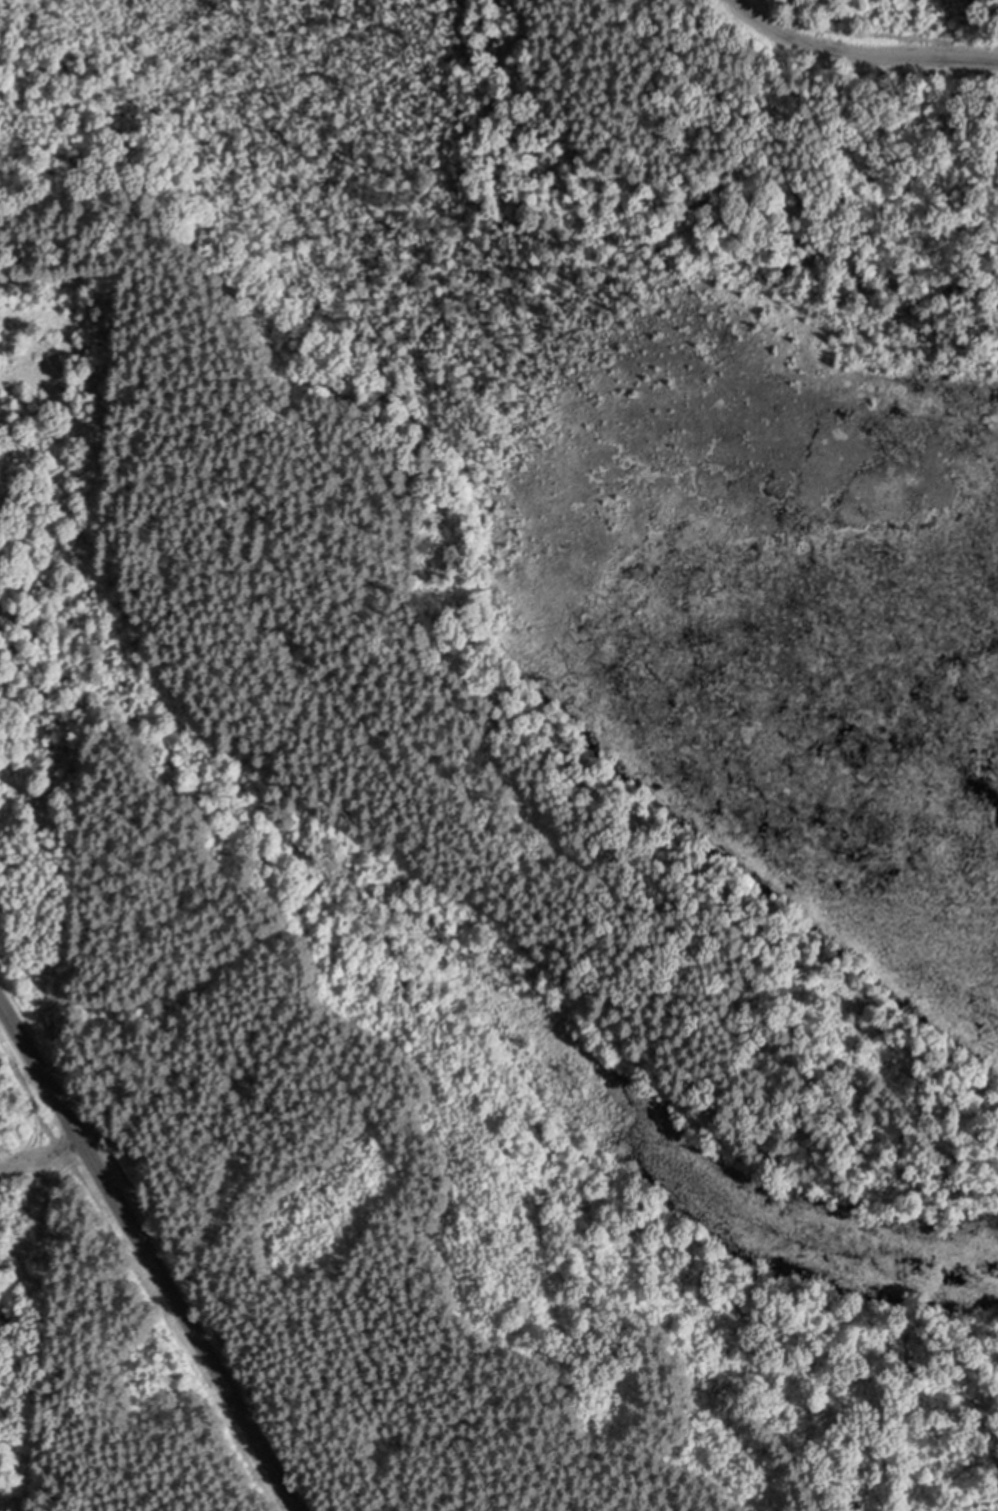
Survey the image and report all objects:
road: (865, 48)
road: (150, 1255)

